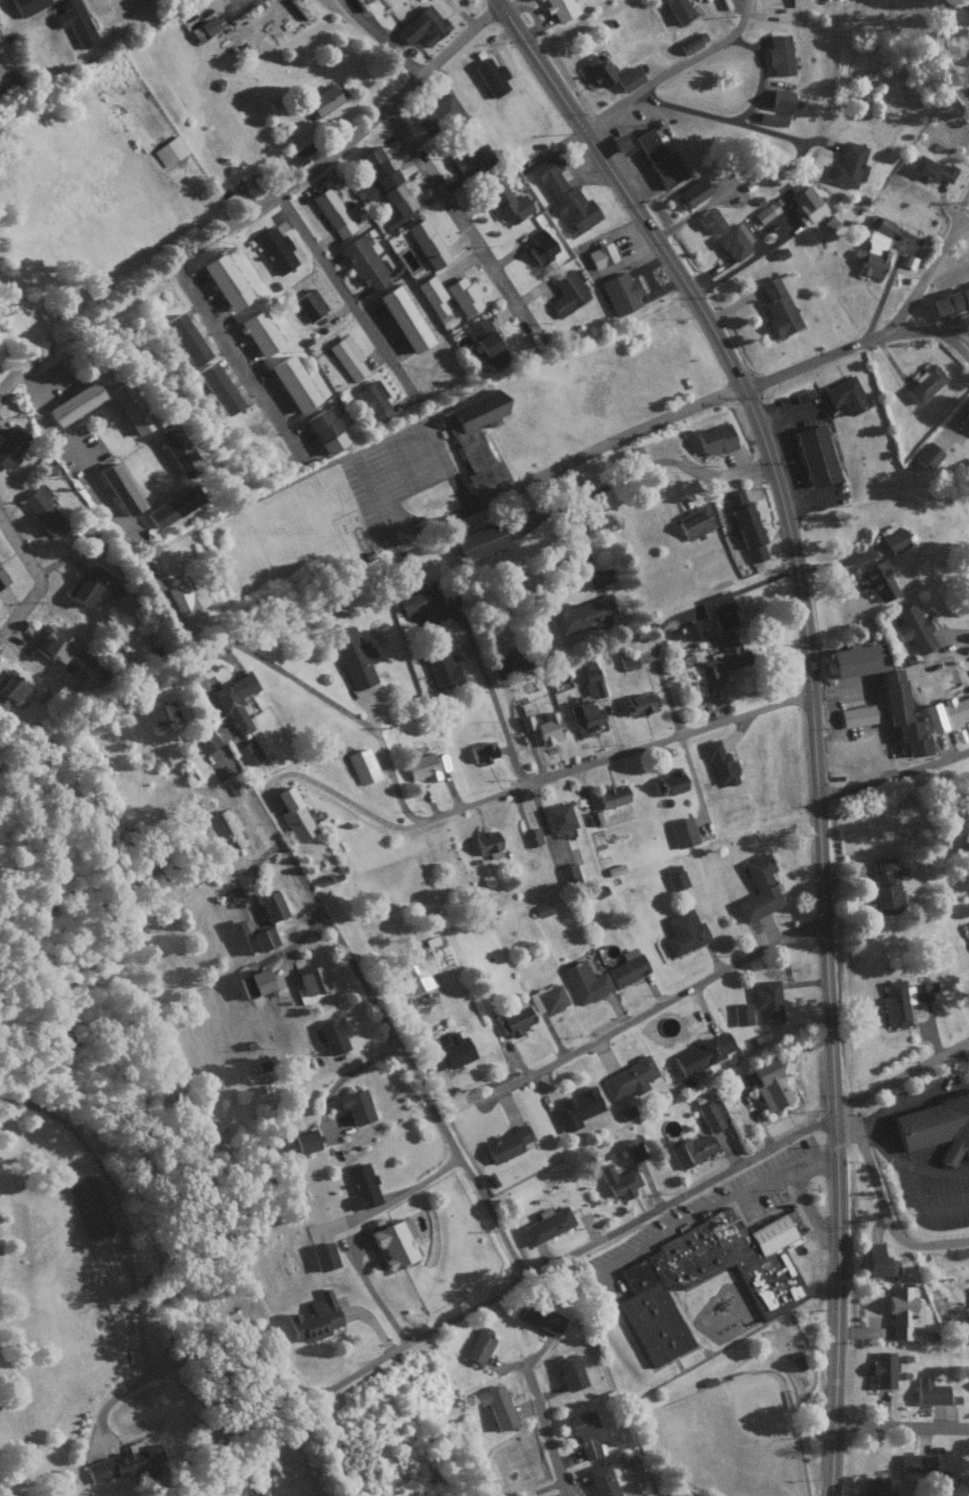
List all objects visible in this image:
building: (357, 1)
building: (797, 3)
building: (27, 6)
building: (559, 9)
building: (678, 10)
building: (968, 10)
building: (74, 22)
building: (421, 26)
building: (203, 28)
road: (381, 38)
building: (689, 44)
building: (779, 55)
road: (440, 57)
road: (941, 58)
building: (598, 68)
road: (671, 69)
building: (490, 76)
building: (628, 78)
building: (322, 100)
building: (440, 112)
road: (736, 118)
building: (771, 118)
building: (169, 150)
building: (295, 157)
building: (470, 159)
building: (659, 159)
building: (848, 165)
building: (930, 170)
building: (381, 181)
building: (691, 193)
building: (564, 195)
building: (804, 202)
building: (507, 204)
road: (957, 206)
building: (332, 212)
building: (765, 212)
building: (710, 221)
road: (460, 225)
road: (965, 227)
road: (201, 241)
building: (734, 242)
building: (426, 243)
building: (539, 246)
building: (873, 247)
building: (275, 250)
building: (600, 255)
building: (363, 263)
building: (223, 281)
building: (567, 292)
building: (620, 293)
building: (431, 294)
building: (462, 295)
road: (345, 297)
building: (950, 301)
building: (308, 304)
building: (777, 307)
building: (402, 319)
road: (933, 332)
building: (258, 333)
road: (875, 337)
building: (183, 339)
building: (486, 343)
building: (346, 357)
road: (235, 359)
road: (9, 381)
building: (291, 383)
building: (924, 383)
building: (215, 388)
building: (845, 395)
building: (373, 399)
building: (73, 403)
building: (128, 408)
building: (965, 421)
building: (323, 430)
building: (714, 439)
road: (597, 445)
building: (9, 447)
building: (176, 450)
building: (815, 455)
building: (926, 456)
building: (119, 488)
building: (172, 506)
building: (41, 509)
building: (694, 522)
building: (743, 524)
building: (894, 540)
building: (477, 541)
road: (35, 578)
building: (1, 580)
building: (876, 580)
building: (152, 582)
building: (92, 586)
building: (182, 603)
building: (420, 604)
building: (717, 609)
building: (584, 614)
building: (912, 628)
building: (692, 630)
building: (53, 645)
building: (351, 657)
building: (723, 657)
building: (857, 658)
building: (627, 661)
building: (509, 664)
building: (440, 669)
building: (590, 679)
road: (289, 680)
building: (10, 690)
road: (488, 695)
building: (234, 701)
building: (640, 703)
road: (811, 707)
building: (162, 713)
building: (901, 713)
building: (944, 713)
building: (584, 715)
building: (856, 715)
building: (548, 728)
building: (204, 739)
building: (481, 751)
building: (246, 753)
building: (719, 763)
building: (360, 766)
building: (423, 766)
road: (893, 772)
road: (529, 781)
building: (670, 781)
building: (611, 796)
building: (293, 814)
building: (557, 817)
building: (593, 818)
building: (681, 832)
building: (530, 837)
building: (485, 841)
building: (566, 874)
building: (674, 877)
building: (883, 886)
building: (758, 889)
building: (598, 891)
building: (232, 894)
building: (273, 907)
building: (540, 909)
building: (683, 932)
building: (255, 937)
building: (626, 970)
building: (413, 977)
building: (313, 980)
building: (584, 982)
building: (255, 983)
building: (546, 998)
building: (766, 1000)
building: (902, 1000)
road: (648, 1008)
building: (741, 1013)
building: (512, 1022)
road: (386, 1033)
building: (331, 1035)
building: (447, 1052)
building: (703, 1053)
road: (901, 1073)
building: (627, 1078)
building: (769, 1084)
building: (354, 1105)
building: (571, 1110)
building: (712, 1114)
building: (936, 1126)
building: (303, 1141)
building: (506, 1144)
building: (631, 1150)
building: (691, 1150)
building: (618, 1181)
building: (361, 1186)
road: (679, 1197)
building: (88, 1207)
road: (883, 1208)
building: (546, 1225)
building: (390, 1241)
building: (323, 1256)
building: (878, 1261)
building: (771, 1285)
building: (903, 1312)
building: (314, 1317)
building: (539, 1318)
building: (477, 1345)
road: (192, 1355)
building: (881, 1369)
building: (570, 1371)
building: (928, 1391)
building: (495, 1406)
road: (900, 1427)
road: (542, 1429)
building: (586, 1433)
building: (123, 1462)
building: (914, 1462)
building: (149, 1471)
building: (604, 1479)
building: (874, 1487)

